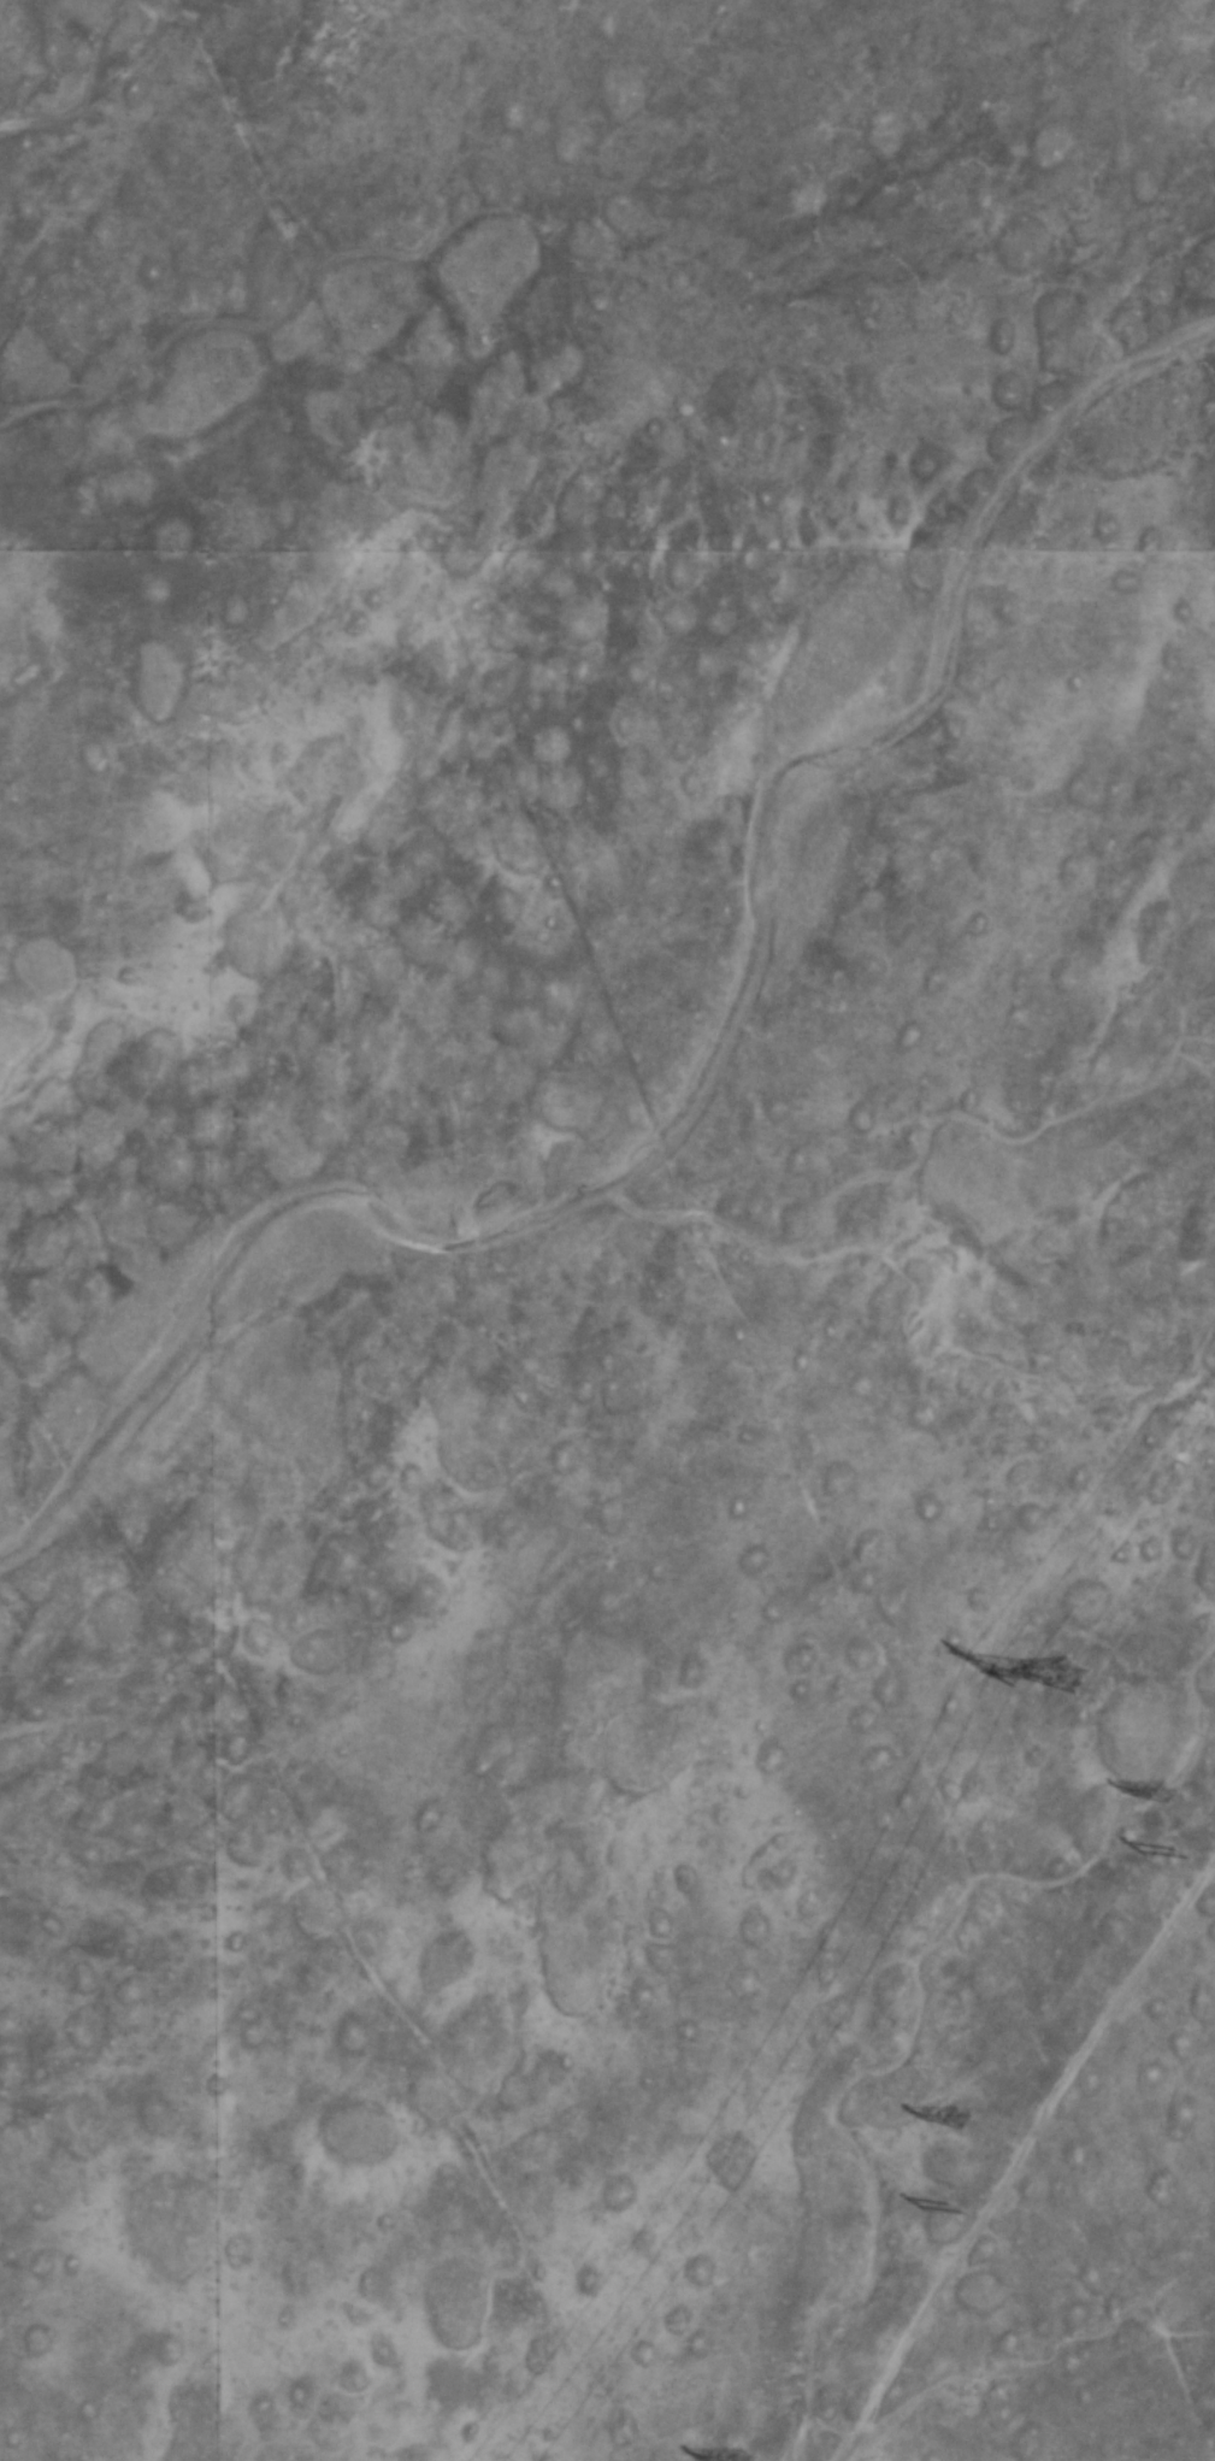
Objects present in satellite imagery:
power tower: (1074, 1692)
power tower: (1160, 1824)
power tower: (1190, 1860)
power tower: (967, 2124)
road: (1016, 2151)
power tower: (965, 2218)
power tower: (745, 2459)

